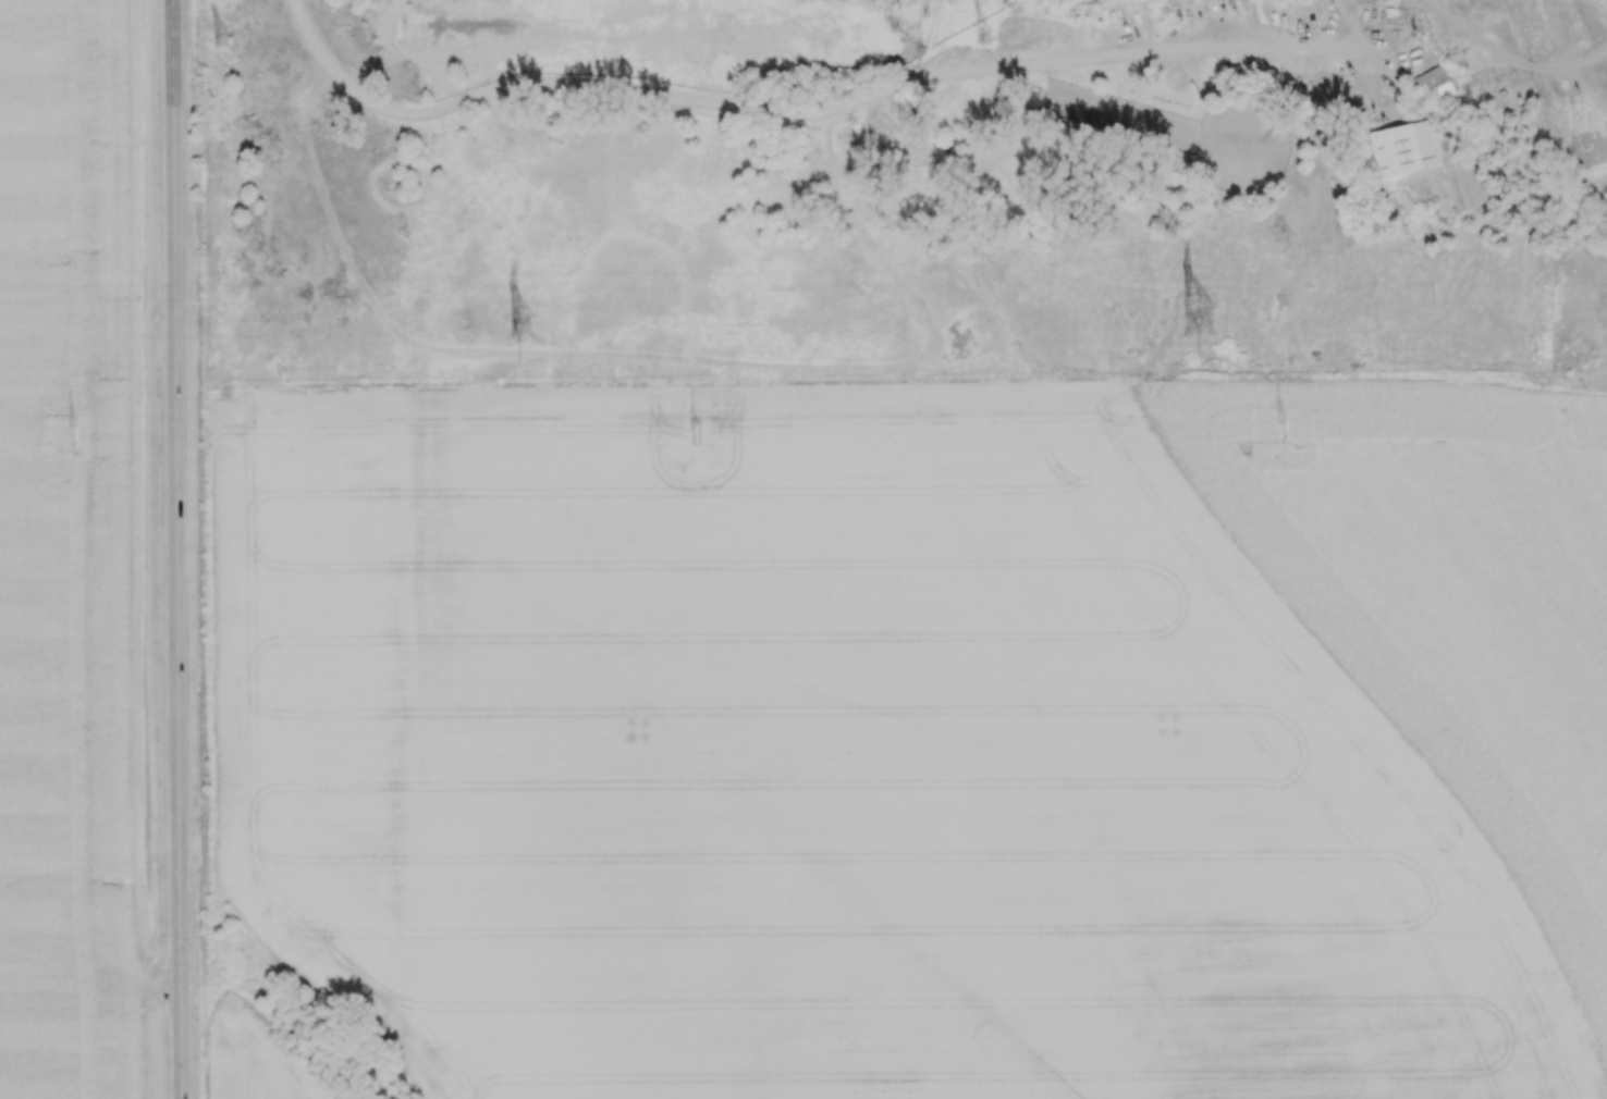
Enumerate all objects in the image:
power tower: (982, 34)
power tower: (220, 37)
building: (1433, 79)
road: (733, 113)
building: (1409, 146)
power tower: (1200, 325)
power tower: (519, 328)
power tower: (1287, 427)
power tower: (696, 433)
power tower: (75, 434)
road: (176, 549)
crop: (70, 556)

